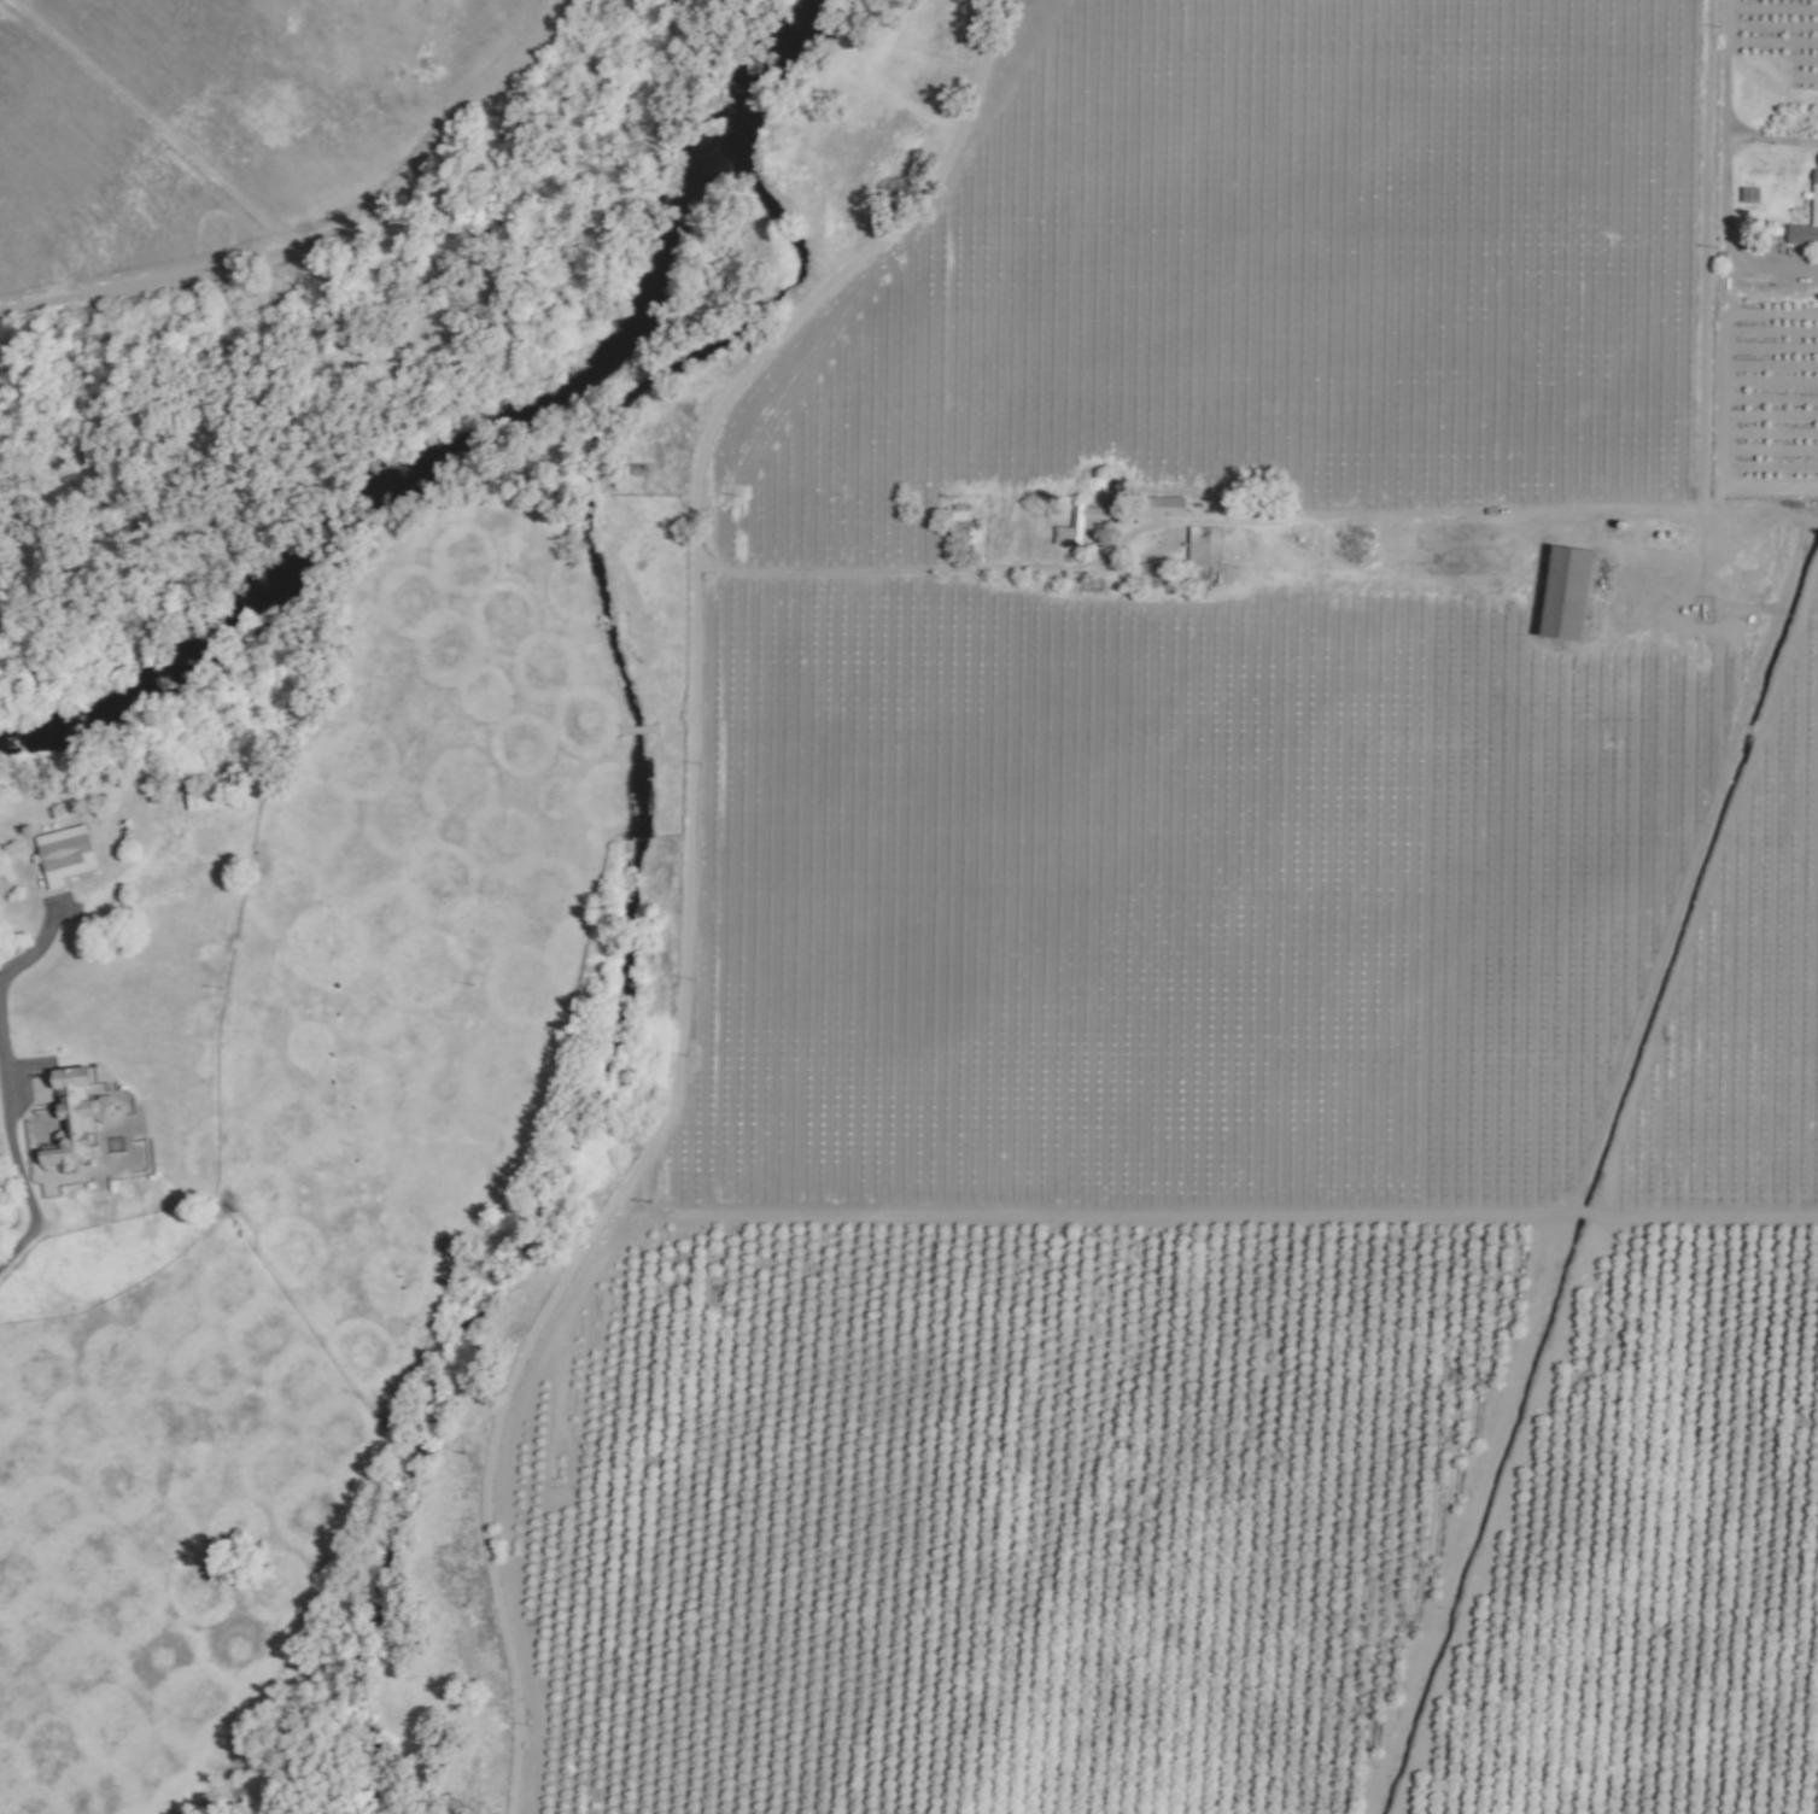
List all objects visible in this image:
road: (1729, 60)
crop: (1779, 66)
crop: (204, 118)
road: (1708, 136)
road: (1771, 139)
river: (714, 183)
building: (1813, 213)
road: (1728, 232)
crop: (1771, 396)
road: (1702, 482)
building: (1161, 507)
building: (958, 521)
building: (1076, 523)
building: (1202, 546)
road: (883, 567)
building: (1151, 572)
river: (304, 581)
building: (1562, 592)
building: (62, 854)
road: (686, 880)
building: (72, 1119)
road: (11, 1149)
crop: (312, 1189)
crop: (1182, 1516)

